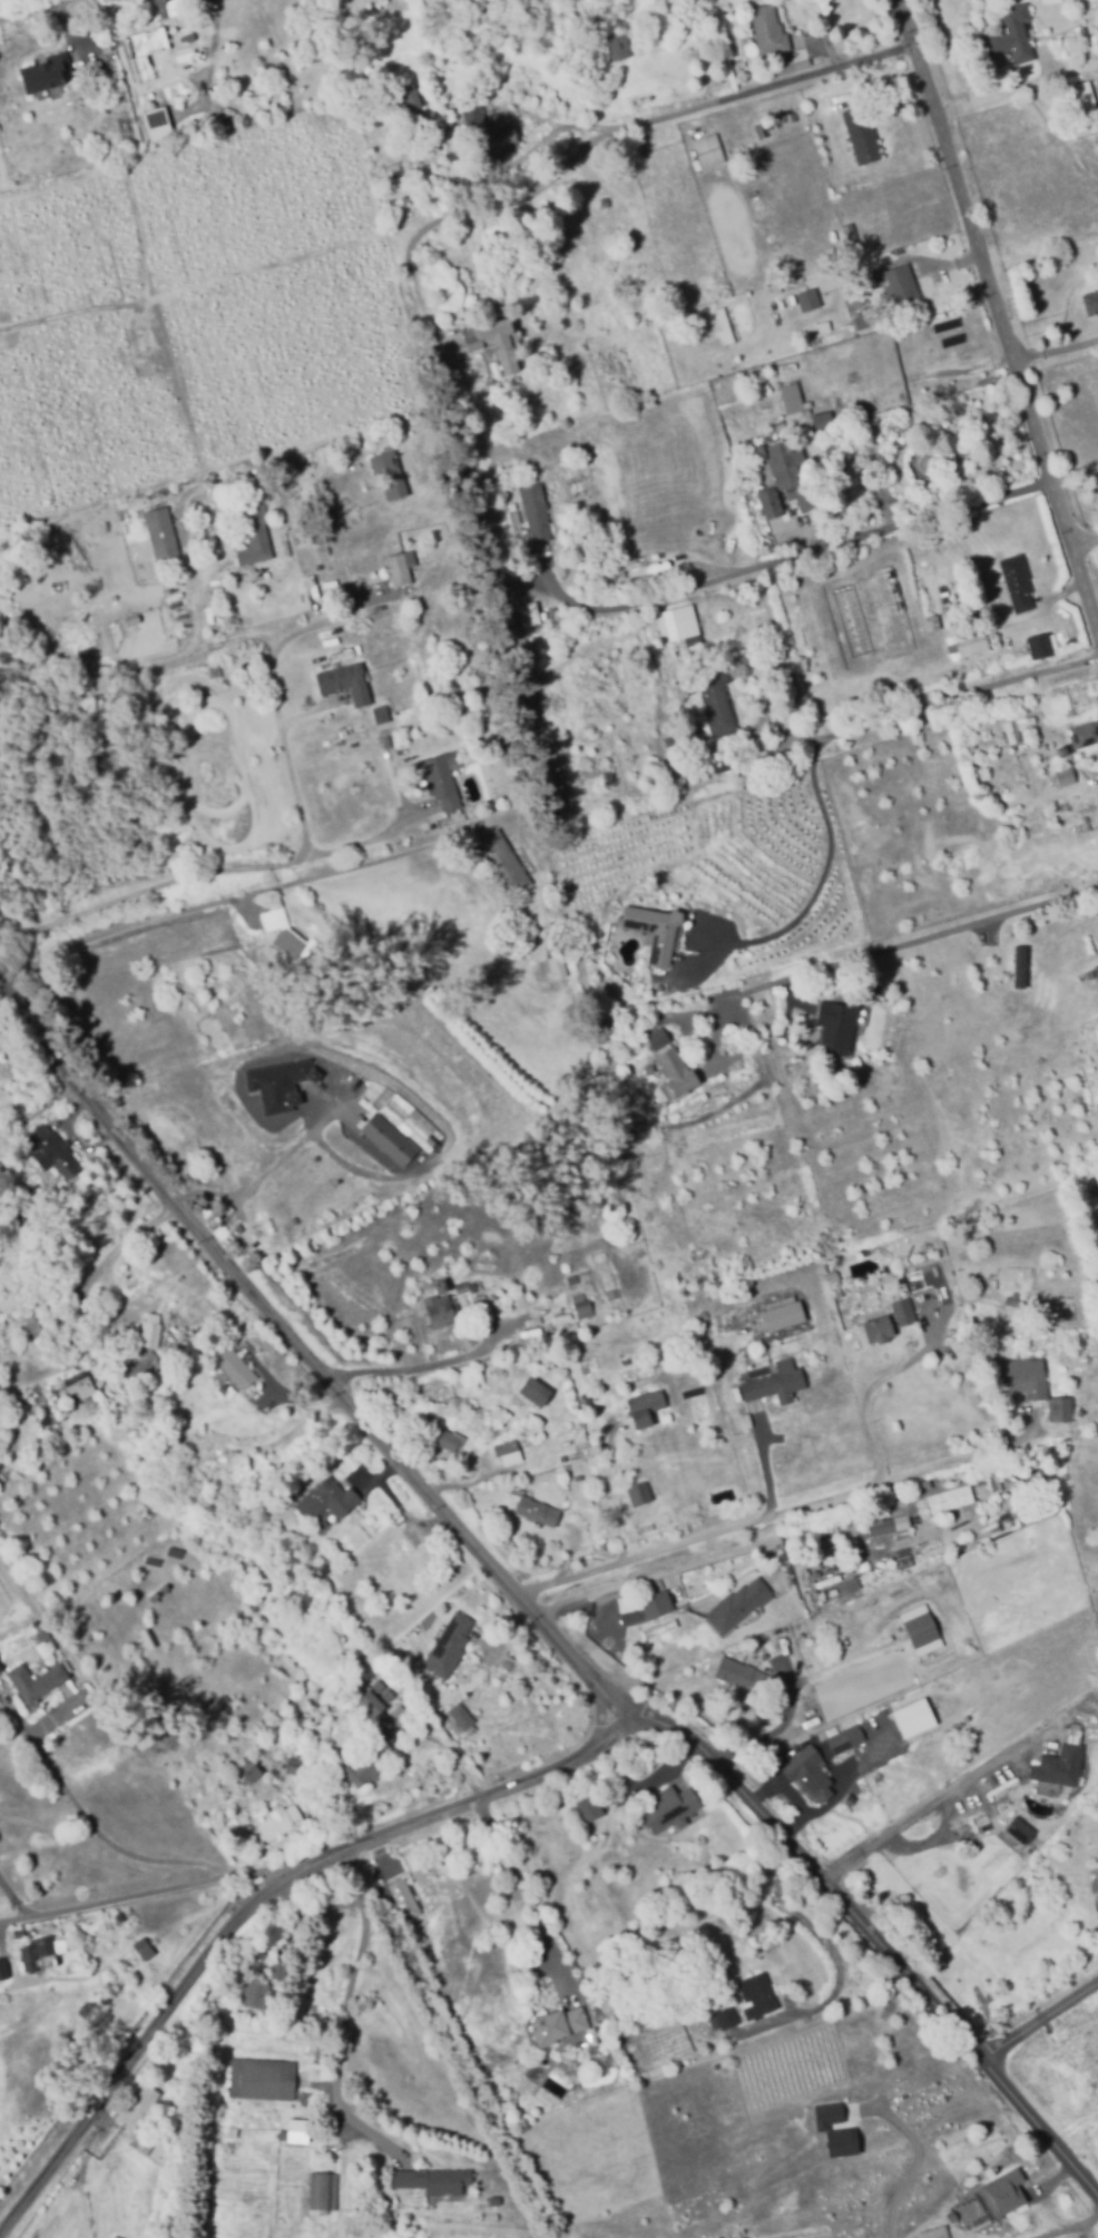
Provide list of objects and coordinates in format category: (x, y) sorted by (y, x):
building: (167, 7)
road: (30, 9)
building: (716, 11)
building: (243, 14)
building: (768, 29)
building: (1011, 35)
building: (144, 43)
building: (619, 45)
building: (48, 71)
road: (1018, 85)
building: (410, 96)
road: (725, 97)
building: (1080, 98)
building: (504, 134)
building: (863, 134)
building: (710, 149)
building: (605, 200)
road: (473, 207)
building: (851, 236)
building: (904, 288)
building: (808, 298)
building: (1091, 300)
road: (1001, 306)
building: (866, 318)
building: (496, 341)
road: (1058, 353)
building: (792, 396)
building: (820, 420)
building: (788, 471)
building: (390, 472)
building: (310, 500)
building: (769, 502)
building: (537, 509)
building: (161, 532)
building: (520, 533)
building: (256, 536)
road: (340, 540)
road: (1087, 541)
road: (784, 558)
building: (398, 568)
building: (1014, 582)
road: (365, 596)
building: (933, 620)
building: (682, 621)
road: (234, 638)
building: (970, 641)
building: (1040, 649)
building: (216, 670)
building: (345, 679)
road: (99, 681)
building: (715, 698)
road: (307, 709)
building: (379, 715)
building: (1013, 730)
building: (1086, 733)
building: (1001, 737)
building: (984, 738)
building: (388, 739)
building: (673, 742)
building: (1042, 745)
road: (815, 753)
building: (723, 764)
building: (1067, 774)
building: (441, 777)
road: (361, 842)
road: (295, 858)
building: (501, 862)
road: (222, 904)
building: (656, 929)
building: (291, 934)
road: (889, 946)
building: (559, 962)
building: (1097, 966)
building: (839, 1023)
building: (658, 1037)
building: (679, 1071)
building: (277, 1084)
road: (41, 1118)
building: (408, 1121)
building: (386, 1139)
building: (57, 1146)
road: (268, 1172)
building: (314, 1178)
building: (225, 1207)
building: (274, 1208)
road: (128, 1238)
building: (573, 1278)
building: (468, 1285)
building: (614, 1292)
building: (1016, 1299)
building: (585, 1305)
building: (443, 1308)
building: (904, 1309)
building: (784, 1314)
building: (880, 1328)
building: (153, 1337)
building: (146, 1365)
road: (421, 1365)
building: (231, 1367)
building: (128, 1371)
building: (493, 1373)
building: (1030, 1375)
building: (776, 1382)
building: (86, 1386)
building: (532, 1392)
road: (869, 1393)
building: (400, 1403)
building: (646, 1406)
building: (1061, 1406)
building: (174, 1437)
building: (452, 1440)
building: (510, 1450)
building: (226, 1454)
road: (773, 1464)
building: (641, 1493)
building: (953, 1500)
building: (323, 1503)
building: (539, 1511)
building: (908, 1522)
road: (747, 1531)
building: (878, 1532)
building: (845, 1586)
building: (656, 1602)
building: (739, 1602)
building: (922, 1631)
building: (47, 1636)
building: (445, 1649)
road: (853, 1659)
building: (0, 1662)
road: (582, 1670)
building: (1, 1672)
building: (743, 1676)
building: (38, 1685)
building: (947, 1685)
building: (372, 1695)
building: (464, 1717)
building: (967, 1717)
building: (912, 1718)
road: (599, 1720)
road: (772, 1733)
building: (846, 1737)
road: (450, 1753)
building: (291, 1766)
building: (252, 1767)
building: (302, 1768)
building: (363, 1768)
building: (1057, 1768)
building: (805, 1776)
building: (587, 1809)
building: (667, 1810)
road: (929, 1812)
building: (282, 1822)
building: (1017, 1833)
road: (109, 1844)
road: (528, 1895)
road: (16, 1898)
road: (139, 1898)
building: (402, 1902)
road: (872, 1936)
building: (145, 1952)
building: (46, 1955)
building: (280, 1969)
building: (4, 1972)
building: (257, 1993)
building: (758, 1994)
building: (983, 2015)
building: (727, 2016)
road: (347, 2023)
road: (1041, 2025)
building: (553, 2028)
building: (666, 2033)
building: (267, 2079)
building: (141, 2106)
building: (826, 2114)
building: (839, 2141)
building: (143, 2143)
road: (913, 2167)
road: (84, 2172)
building: (430, 2181)
building: (324, 2189)
building: (1004, 2191)
building: (491, 2202)
road: (1050, 2208)
building: (935, 2232)
road: (1051, 2234)

